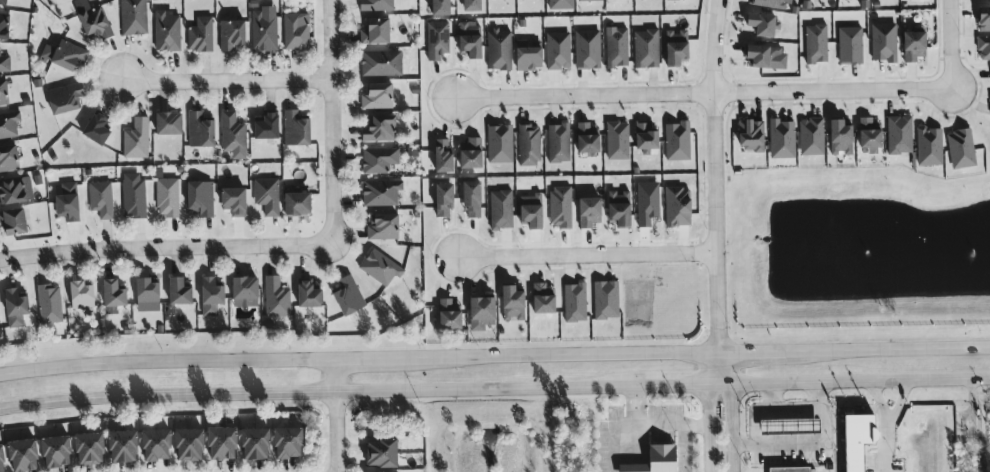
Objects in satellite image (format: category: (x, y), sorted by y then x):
building: (580, 0)
building: (673, 0)
building: (0, 1)
building: (771, 4)
building: (376, 5)
building: (467, 5)
building: (559, 5)
building: (439, 6)
building: (982, 14)
building: (132, 16)
building: (92, 20)
building: (758, 23)
building: (3, 25)
building: (374, 28)
building: (295, 29)
building: (230, 32)
building: (261, 32)
building: (165, 33)
building: (197, 34)
building: (465, 37)
building: (435, 38)
building: (882, 40)
building: (814, 42)
building: (614, 44)
building: (848, 44)
road: (951, 44)
building: (644, 46)
building: (911, 46)
building: (983, 46)
building: (675, 47)
building: (585, 48)
building: (496, 49)
building: (555, 49)
building: (62, 53)
building: (762, 53)
building: (525, 57)
building: (3, 62)
building: (380, 62)
building: (989, 67)
road: (227, 78)
road: (703, 92)
building: (2, 93)
building: (374, 94)
building: (63, 96)
building: (166, 120)
building: (8, 121)
road: (329, 122)
building: (376, 126)
building: (95, 127)
building: (262, 127)
building: (294, 127)
building: (198, 129)
building: (644, 130)
building: (230, 131)
building: (897, 133)
building: (810, 134)
building: (867, 134)
building: (749, 135)
building: (838, 135)
building: (134, 137)
building: (779, 137)
building: (588, 139)
building: (614, 139)
building: (555, 141)
building: (678, 141)
building: (496, 142)
building: (527, 143)
building: (928, 145)
building: (959, 147)
building: (440, 152)
building: (469, 153)
building: (7, 158)
building: (378, 159)
road: (714, 176)
building: (14, 188)
building: (378, 191)
building: (132, 194)
building: (264, 195)
building: (468, 196)
building: (165, 198)
building: (200, 198)
building: (440, 198)
building: (99, 199)
building: (231, 200)
building: (295, 200)
building: (558, 205)
building: (615, 205)
building: (674, 205)
building: (64, 206)
building: (497, 207)
building: (531, 210)
building: (586, 210)
building: (10, 218)
building: (381, 225)
road: (164, 251)
road: (586, 255)
building: (378, 266)
building: (241, 285)
building: (175, 288)
building: (110, 291)
building: (305, 291)
building: (77, 292)
building: (144, 292)
building: (346, 292)
building: (208, 294)
building: (275, 296)
building: (538, 297)
building: (48, 300)
building: (509, 300)
building: (604, 300)
building: (573, 301)
building: (12, 304)
building: (479, 307)
building: (447, 315)
road: (890, 351)
road: (754, 353)
road: (359, 360)
road: (713, 369)
road: (861, 380)
road: (683, 385)
road: (316, 395)
road: (820, 396)
road: (772, 397)
road: (733, 411)
road: (338, 416)
road: (889, 418)
road: (828, 421)
road: (652, 425)
building: (796, 427)
road: (709, 428)
road: (611, 438)
building: (286, 439)
building: (184, 440)
building: (220, 440)
building: (862, 440)
building: (250, 441)
building: (153, 442)
building: (120, 446)
road: (888, 446)
building: (87, 447)
building: (54, 448)
building: (20, 453)
building: (384, 453)
building: (3, 459)
building: (657, 460)
building: (794, 469)

